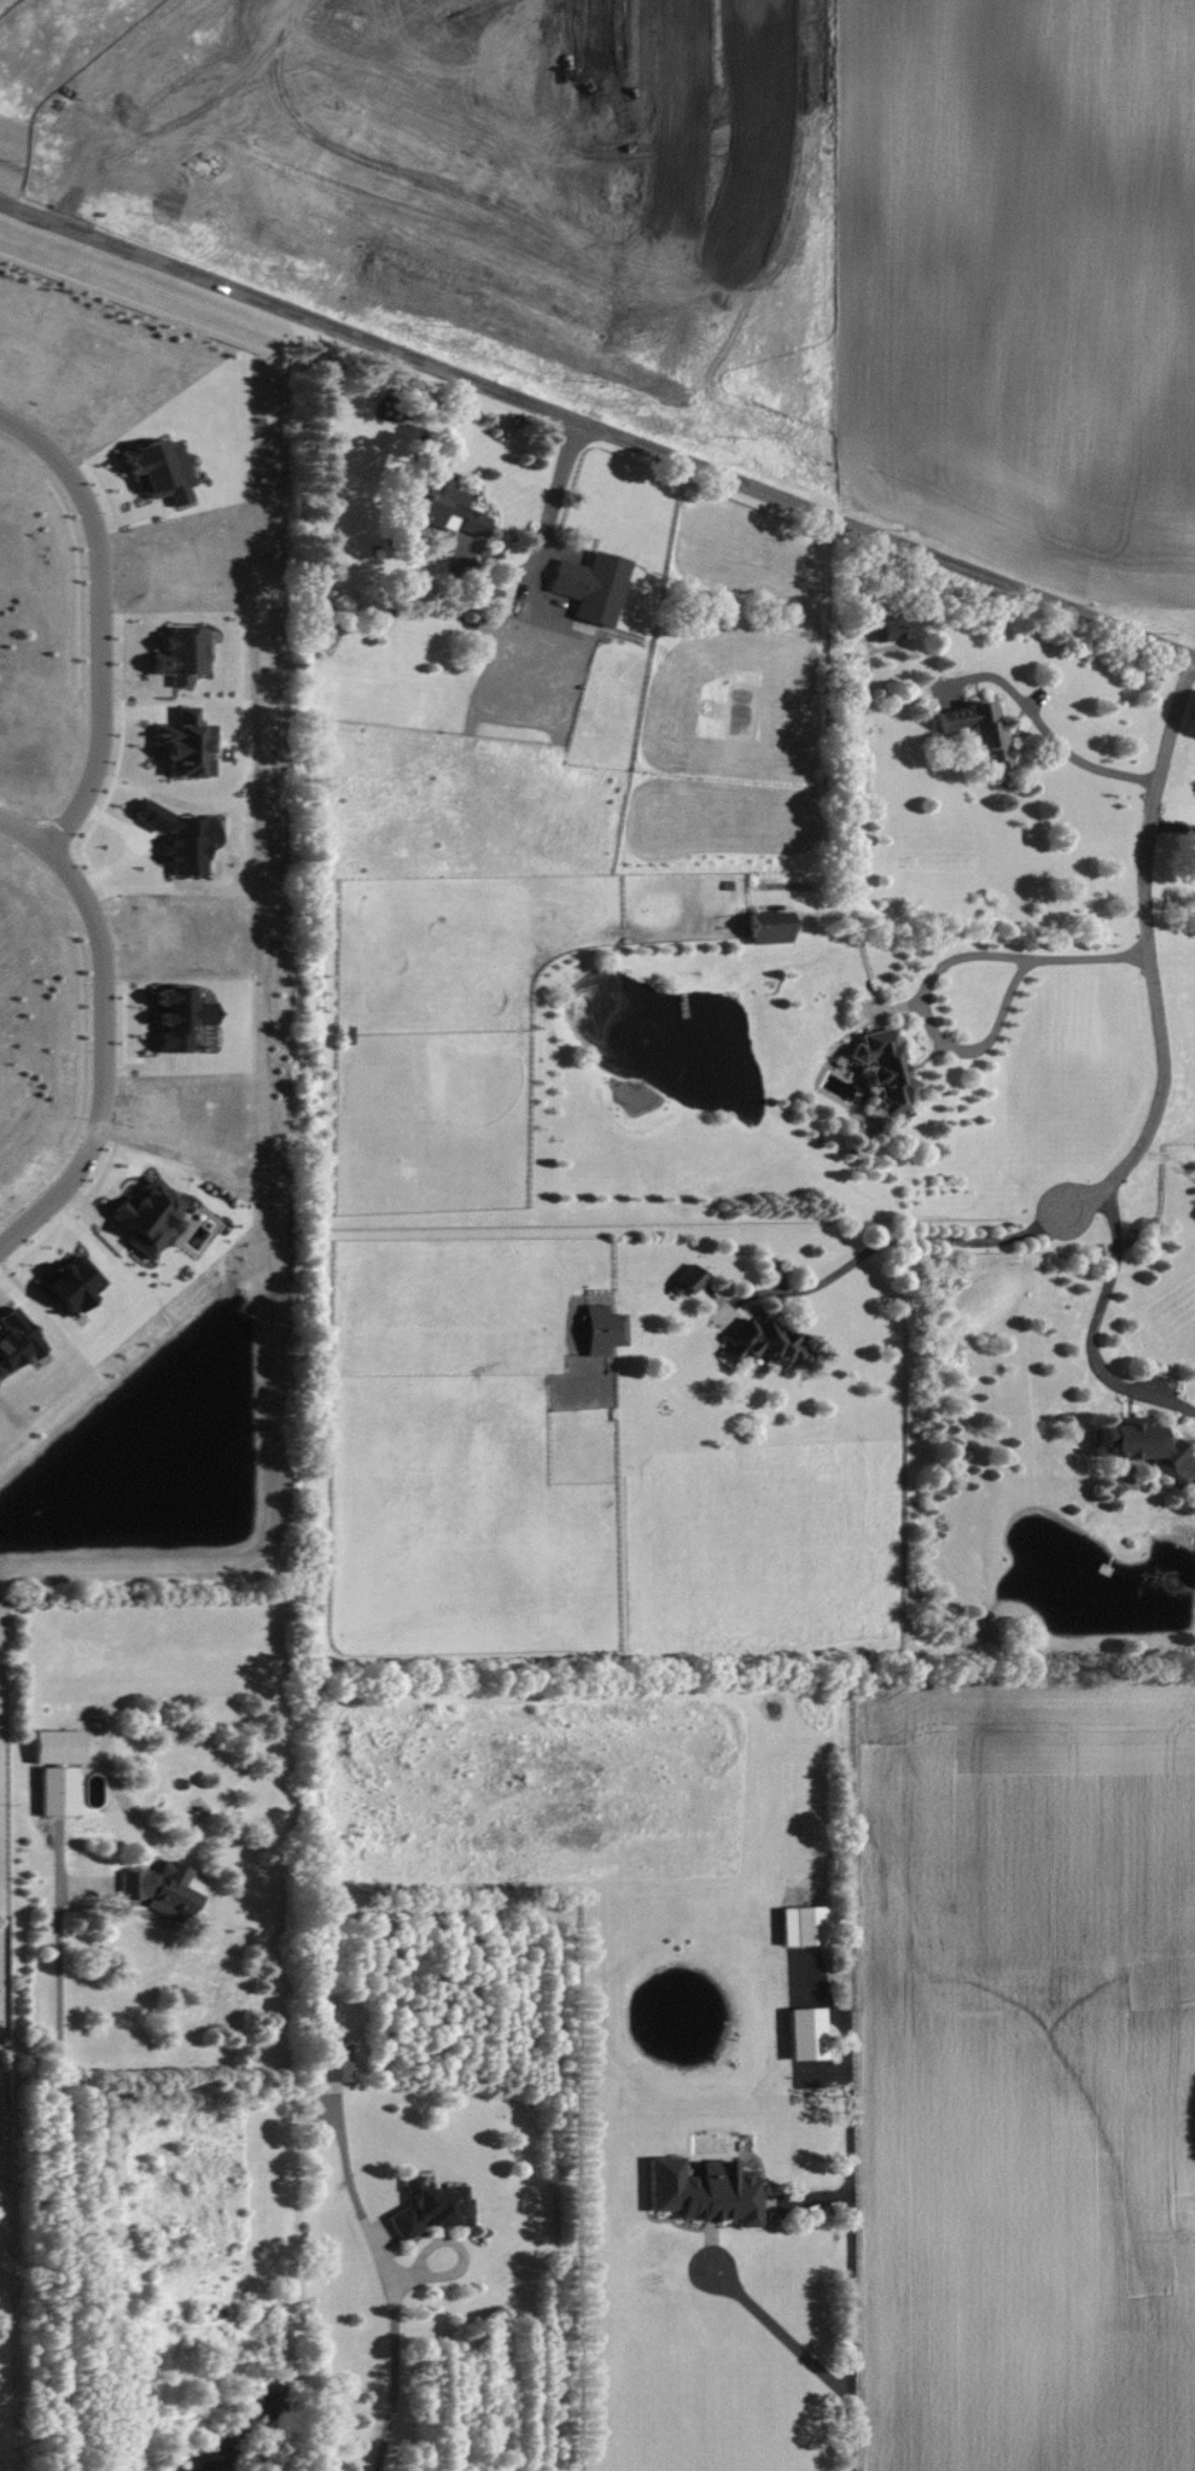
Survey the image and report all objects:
road: (552, 156)
road: (12, 168)
crop: (1024, 279)
road: (144, 305)
road: (597, 427)
building: (445, 507)
road: (538, 548)
building: (591, 585)
road: (101, 619)
building: (892, 628)
road: (1042, 728)
building: (978, 730)
road: (1173, 827)
building: (769, 927)
road: (1150, 949)
road: (937, 977)
road: (104, 1030)
building: (885, 1070)
building: (148, 1217)
road: (892, 1237)
building: (690, 1277)
building: (72, 1284)
road: (1094, 1328)
building: (604, 1329)
building: (16, 1339)
building: (762, 1342)
building: (1142, 1443)
building: (1194, 1490)
building: (57, 1747)
building: (57, 1790)
building: (162, 1889)
building: (804, 1924)
building: (806, 2033)
building: (332, 2061)
crop: (1031, 2081)
road: (851, 2082)
road: (62, 2179)
building: (704, 2190)
building: (431, 2208)
road: (774, 2329)
road: (396, 2347)

